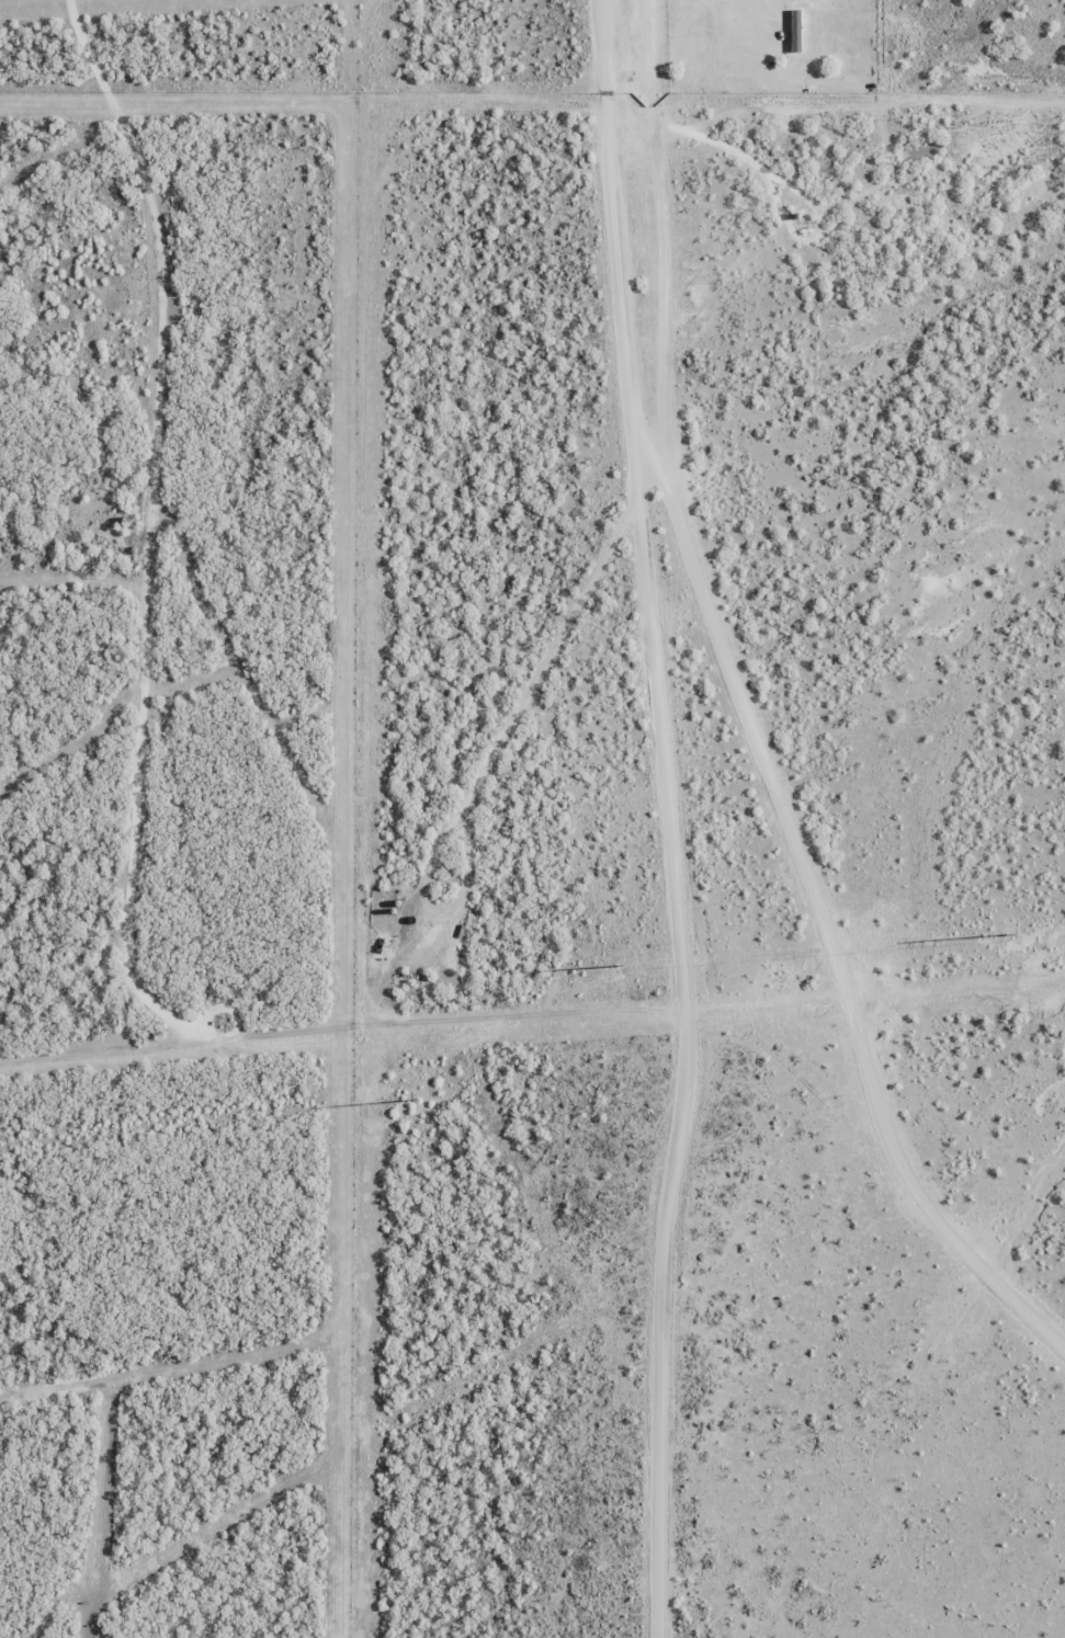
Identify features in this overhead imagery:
building: (797, 32)
road: (171, 514)
road: (670, 819)
power tower: (1009, 933)
power tower: (618, 965)
power tower: (419, 1091)

